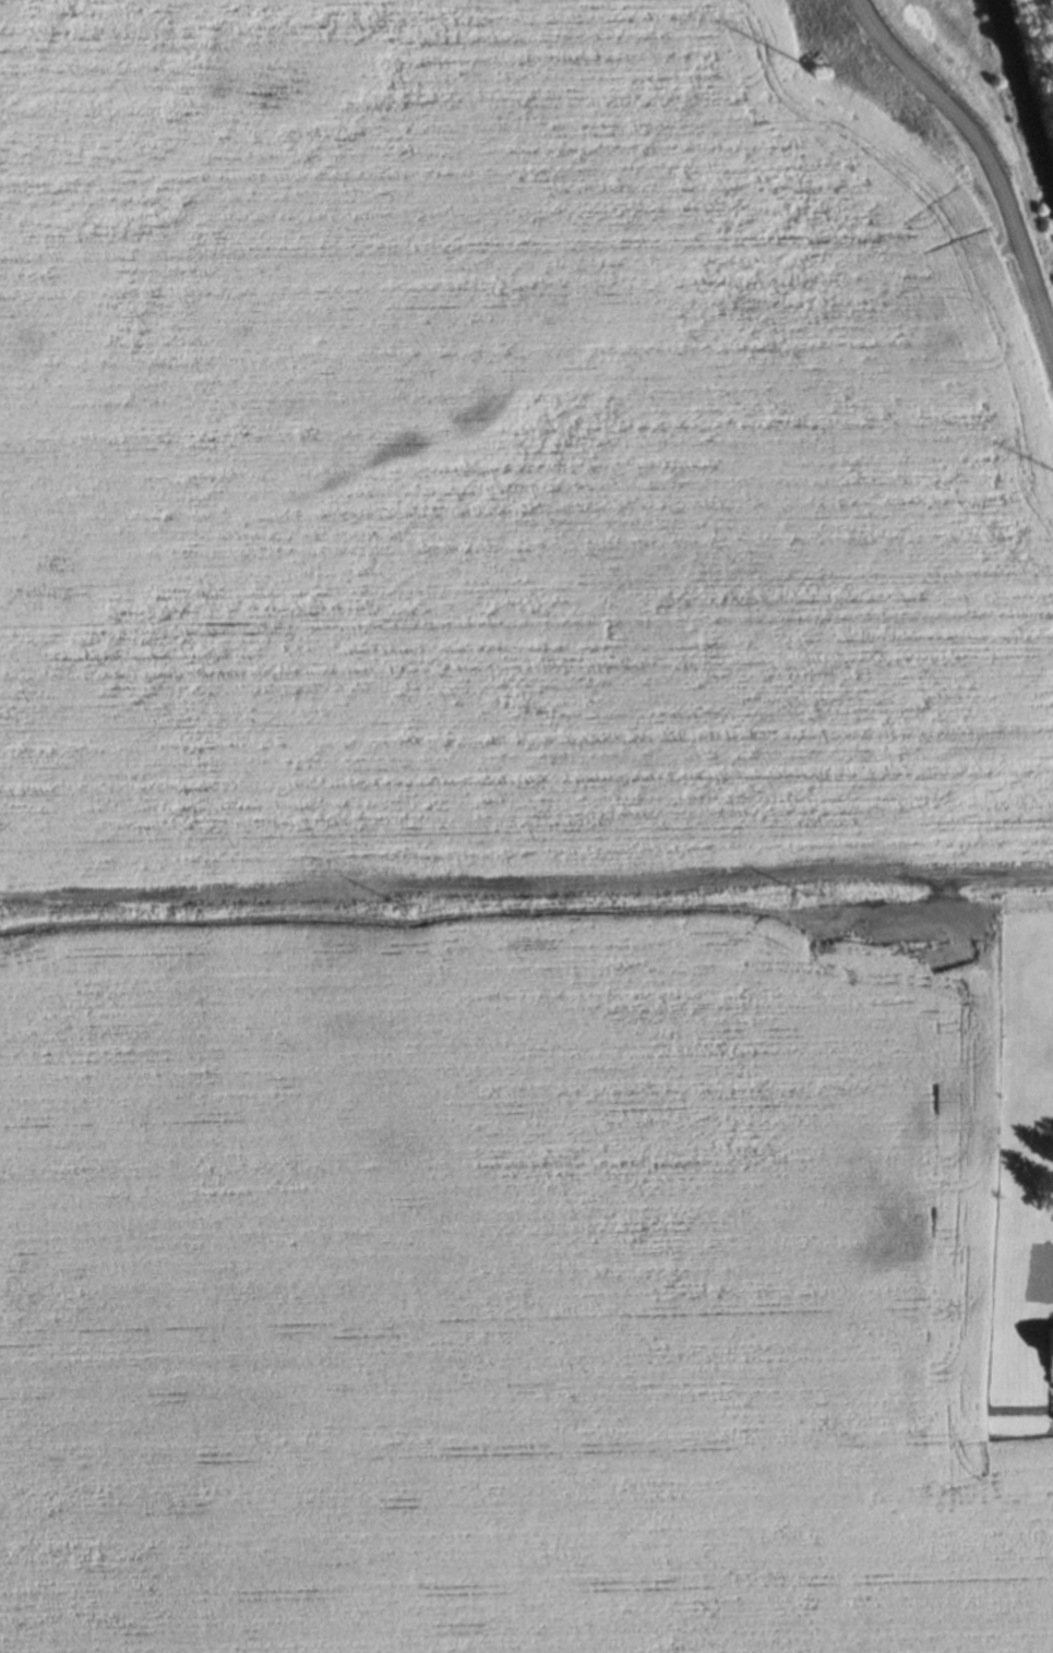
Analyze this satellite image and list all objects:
power tower: (800, 71)
railway: (1021, 106)
road: (984, 166)
building: (1049, 1354)

